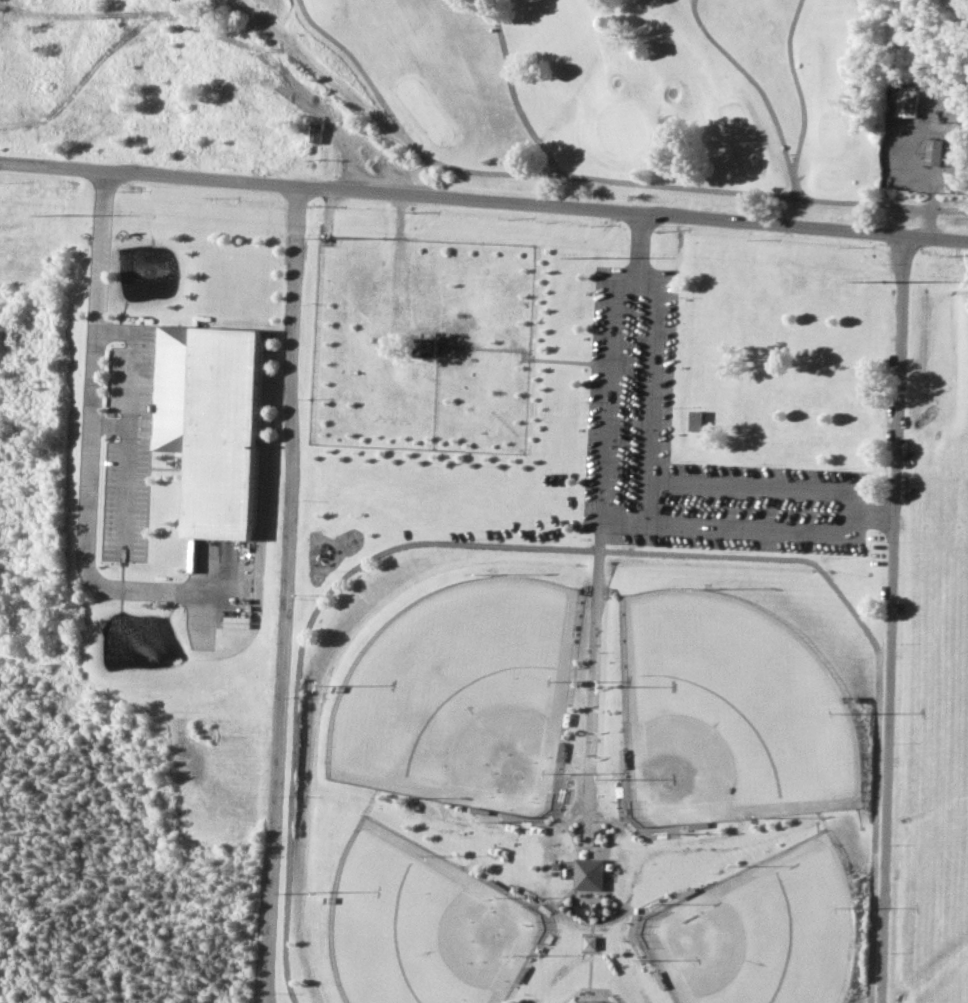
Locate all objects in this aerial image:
park: (646, 90)
building: (907, 103)
building: (317, 131)
building: (934, 152)
road: (932, 199)
road: (483, 200)
building: (431, 346)
building: (698, 420)
road: (129, 422)
building: (214, 423)
road: (110, 425)
road: (91, 433)
road: (630, 490)
road: (584, 550)
road: (283, 594)
road: (895, 616)
park: (621, 620)
park: (466, 696)
park: (738, 715)
road: (592, 742)
road: (623, 806)
road: (612, 822)
road: (532, 825)
road: (649, 834)
building: (591, 874)
road: (581, 892)
road: (647, 907)
road: (589, 915)
park: (425, 926)
park: (770, 933)
road: (635, 936)
building: (591, 943)
road: (585, 951)
road: (590, 982)
road: (603, 993)
park: (594, 1002)

